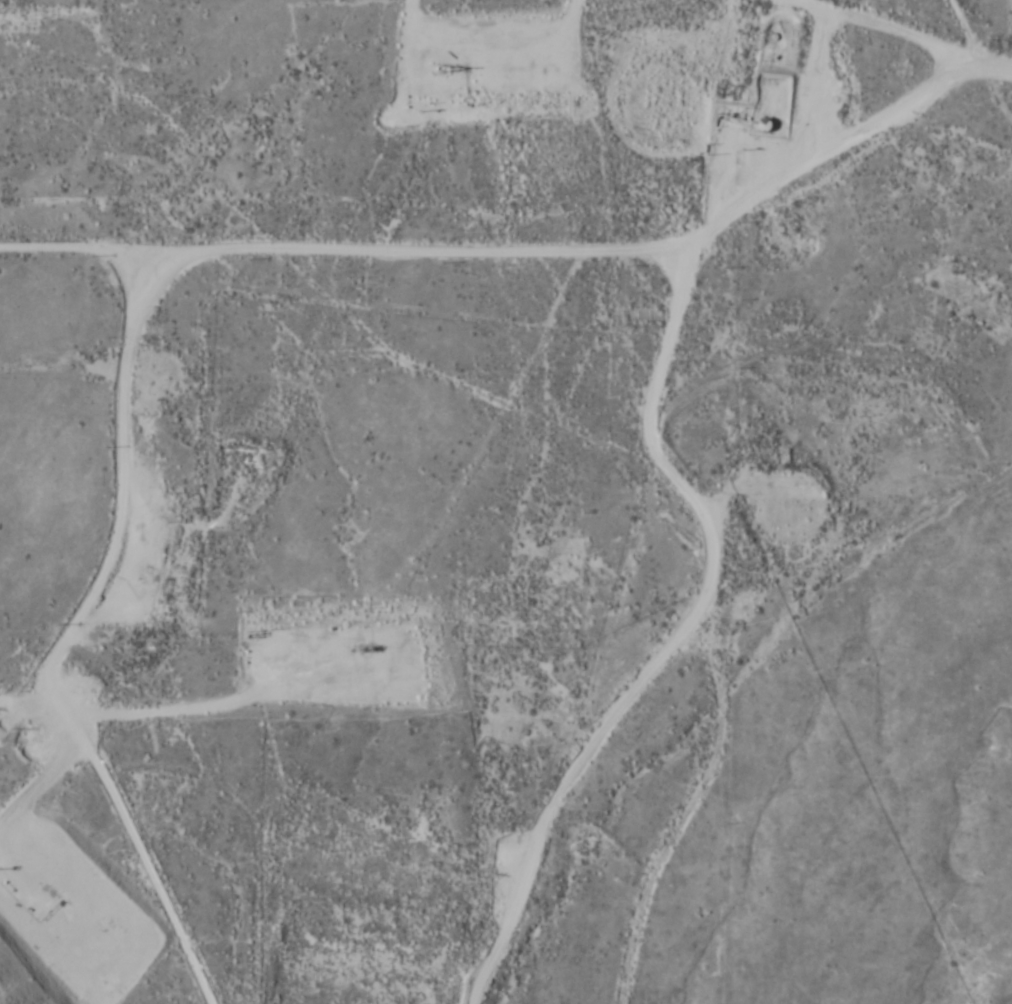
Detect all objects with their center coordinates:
road: (850, 42)
building: (665, 100)

